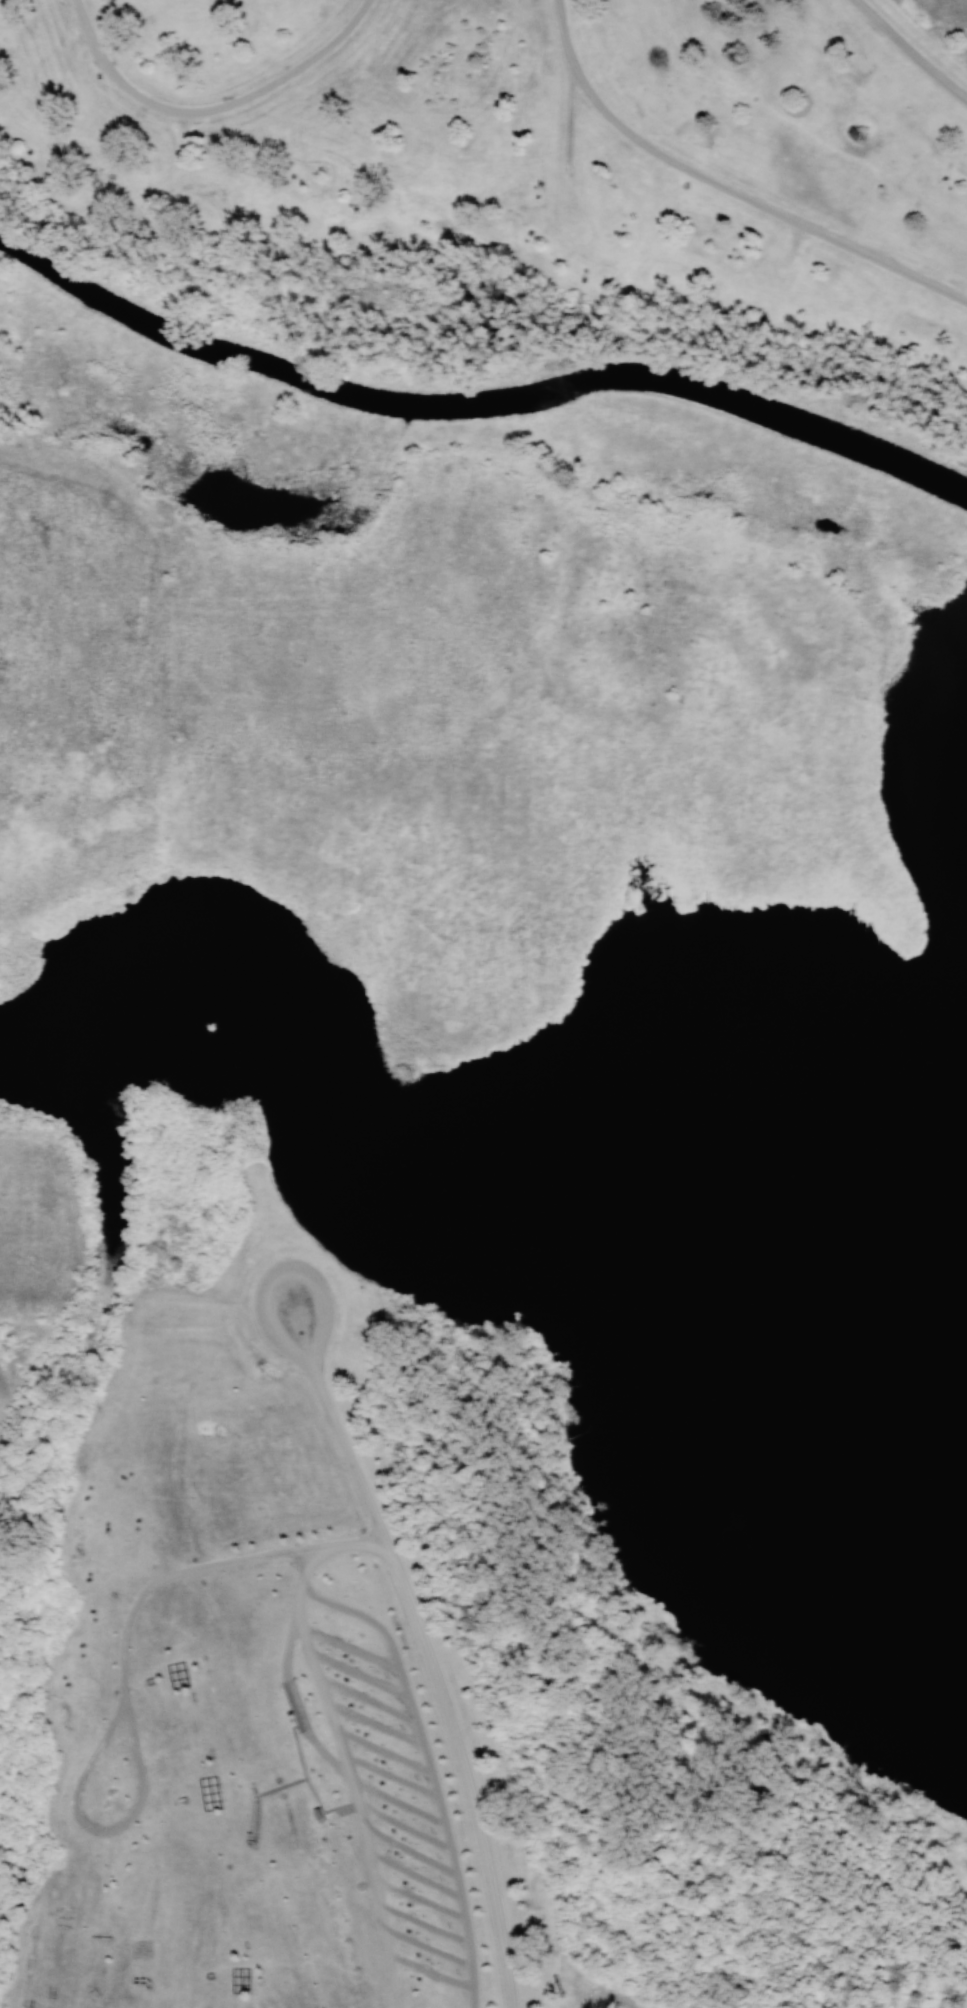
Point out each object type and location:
road: (910, 52)
road: (213, 113)
road: (726, 183)
park: (518, 193)
river: (476, 402)
road: (426, 1653)
park: (390, 1677)
road: (342, 1744)
road: (432, 1770)

